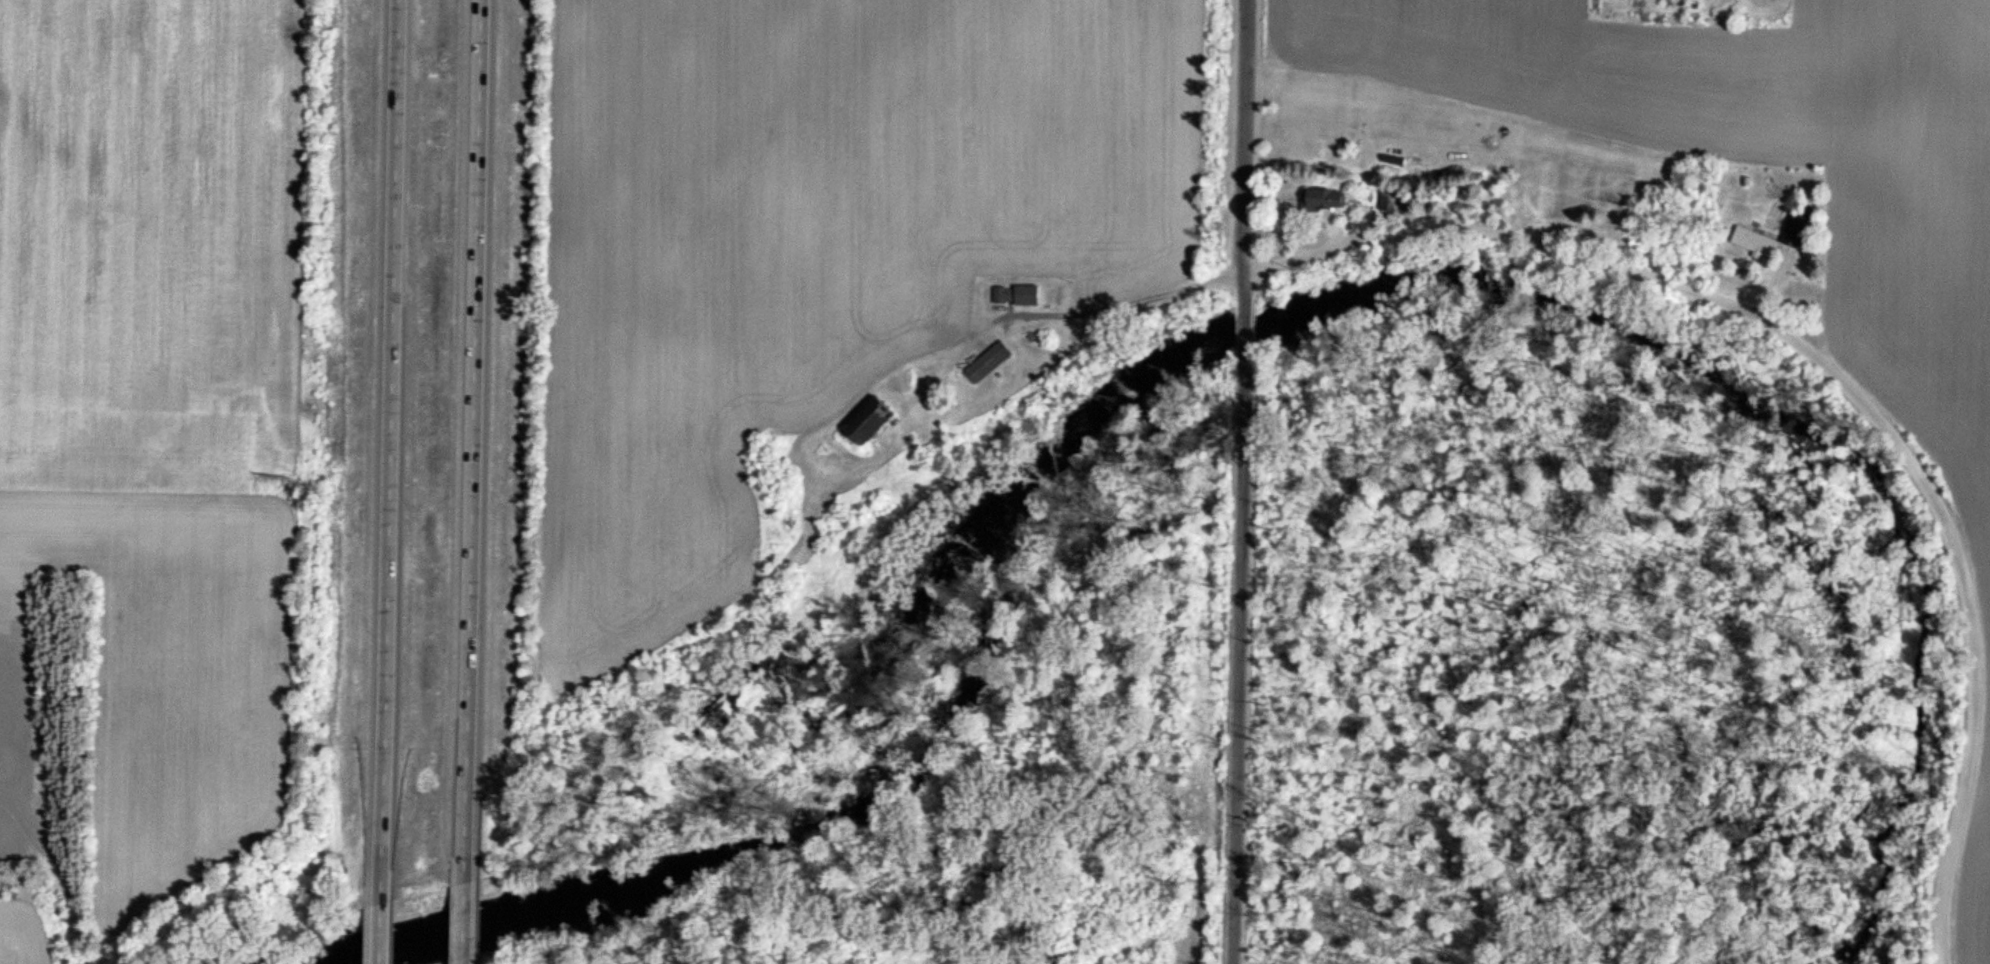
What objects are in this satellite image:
road: (1248, 156)
building: (1324, 200)
building: (1797, 228)
building: (1755, 242)
building: (1017, 296)
road: (1133, 308)
river: (1254, 328)
road: (1245, 337)
building: (989, 364)
road: (1838, 375)
building: (868, 422)
road: (474, 442)
road: (386, 452)
road: (1239, 662)
road: (465, 924)
road: (382, 935)

